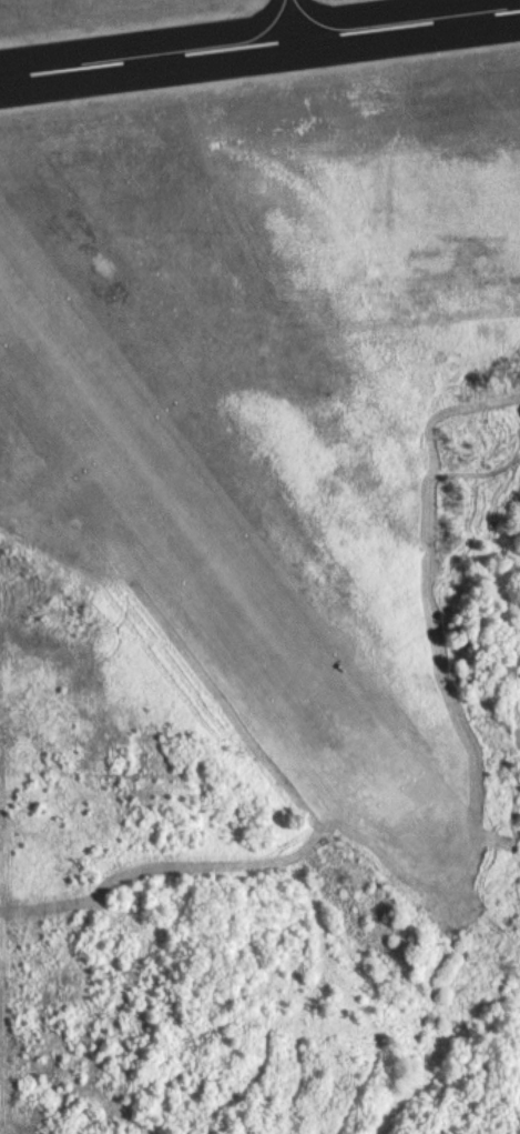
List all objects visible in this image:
airport taxiway: (288, 20)
airport runway: (259, 43)
airport: (279, 364)
airport runway: (194, 536)

